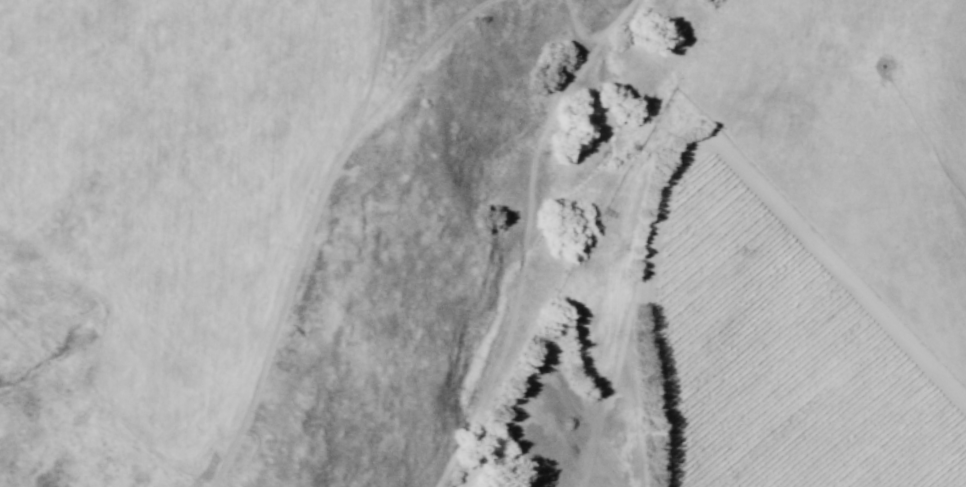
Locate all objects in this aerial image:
road: (713, 140)
crop: (784, 329)

